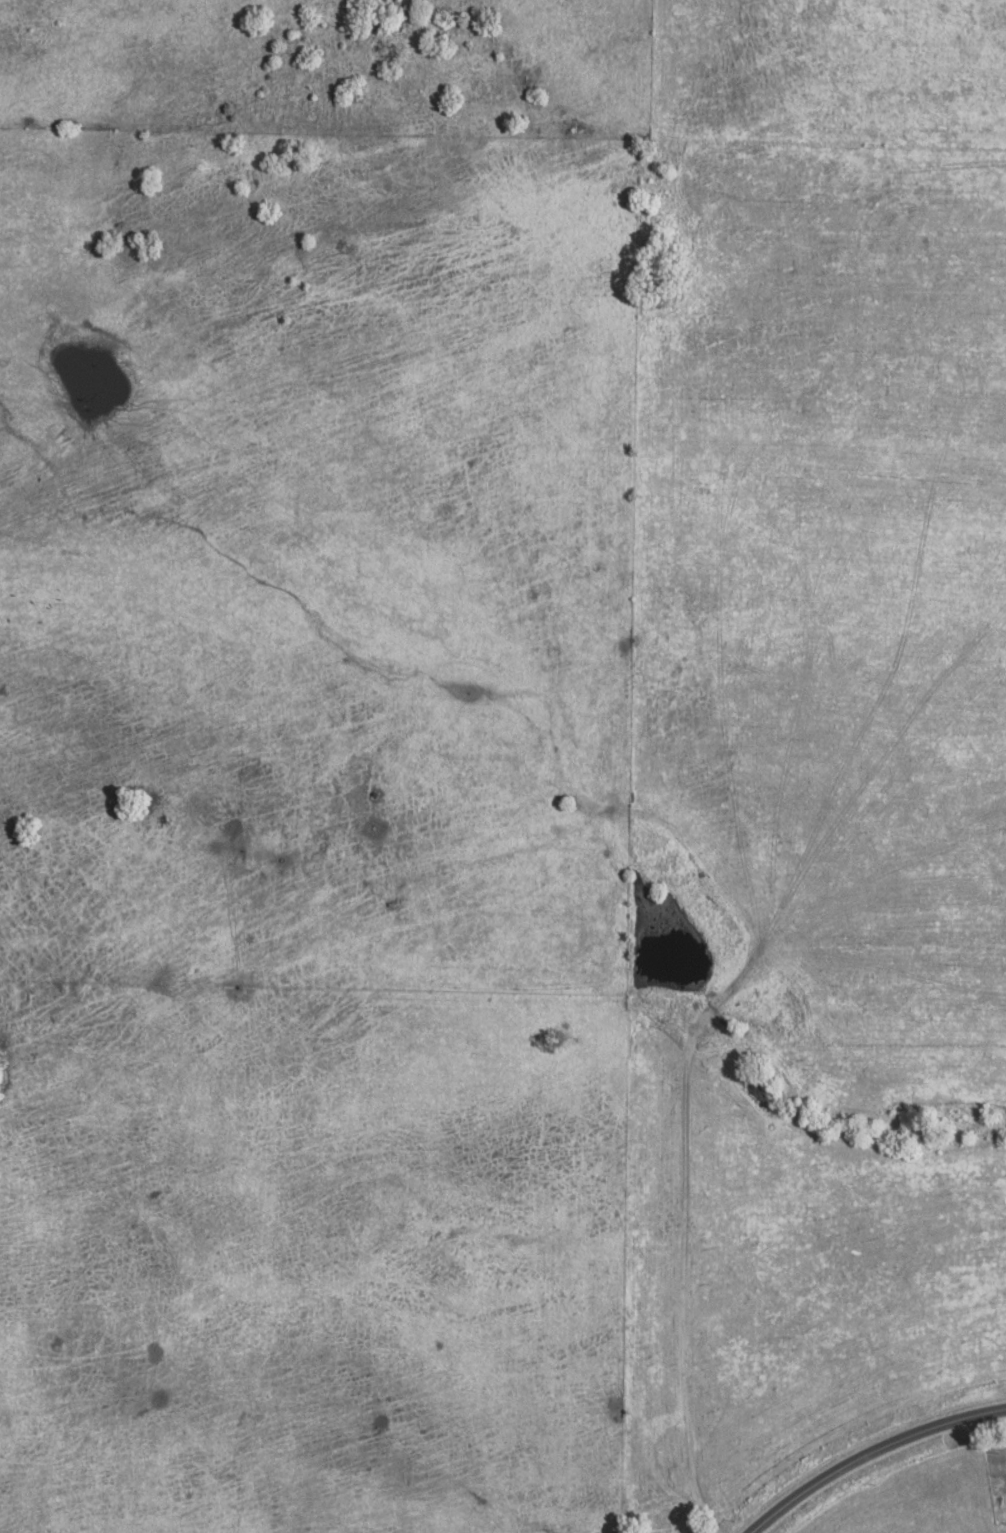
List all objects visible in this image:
road: (873, 1455)

